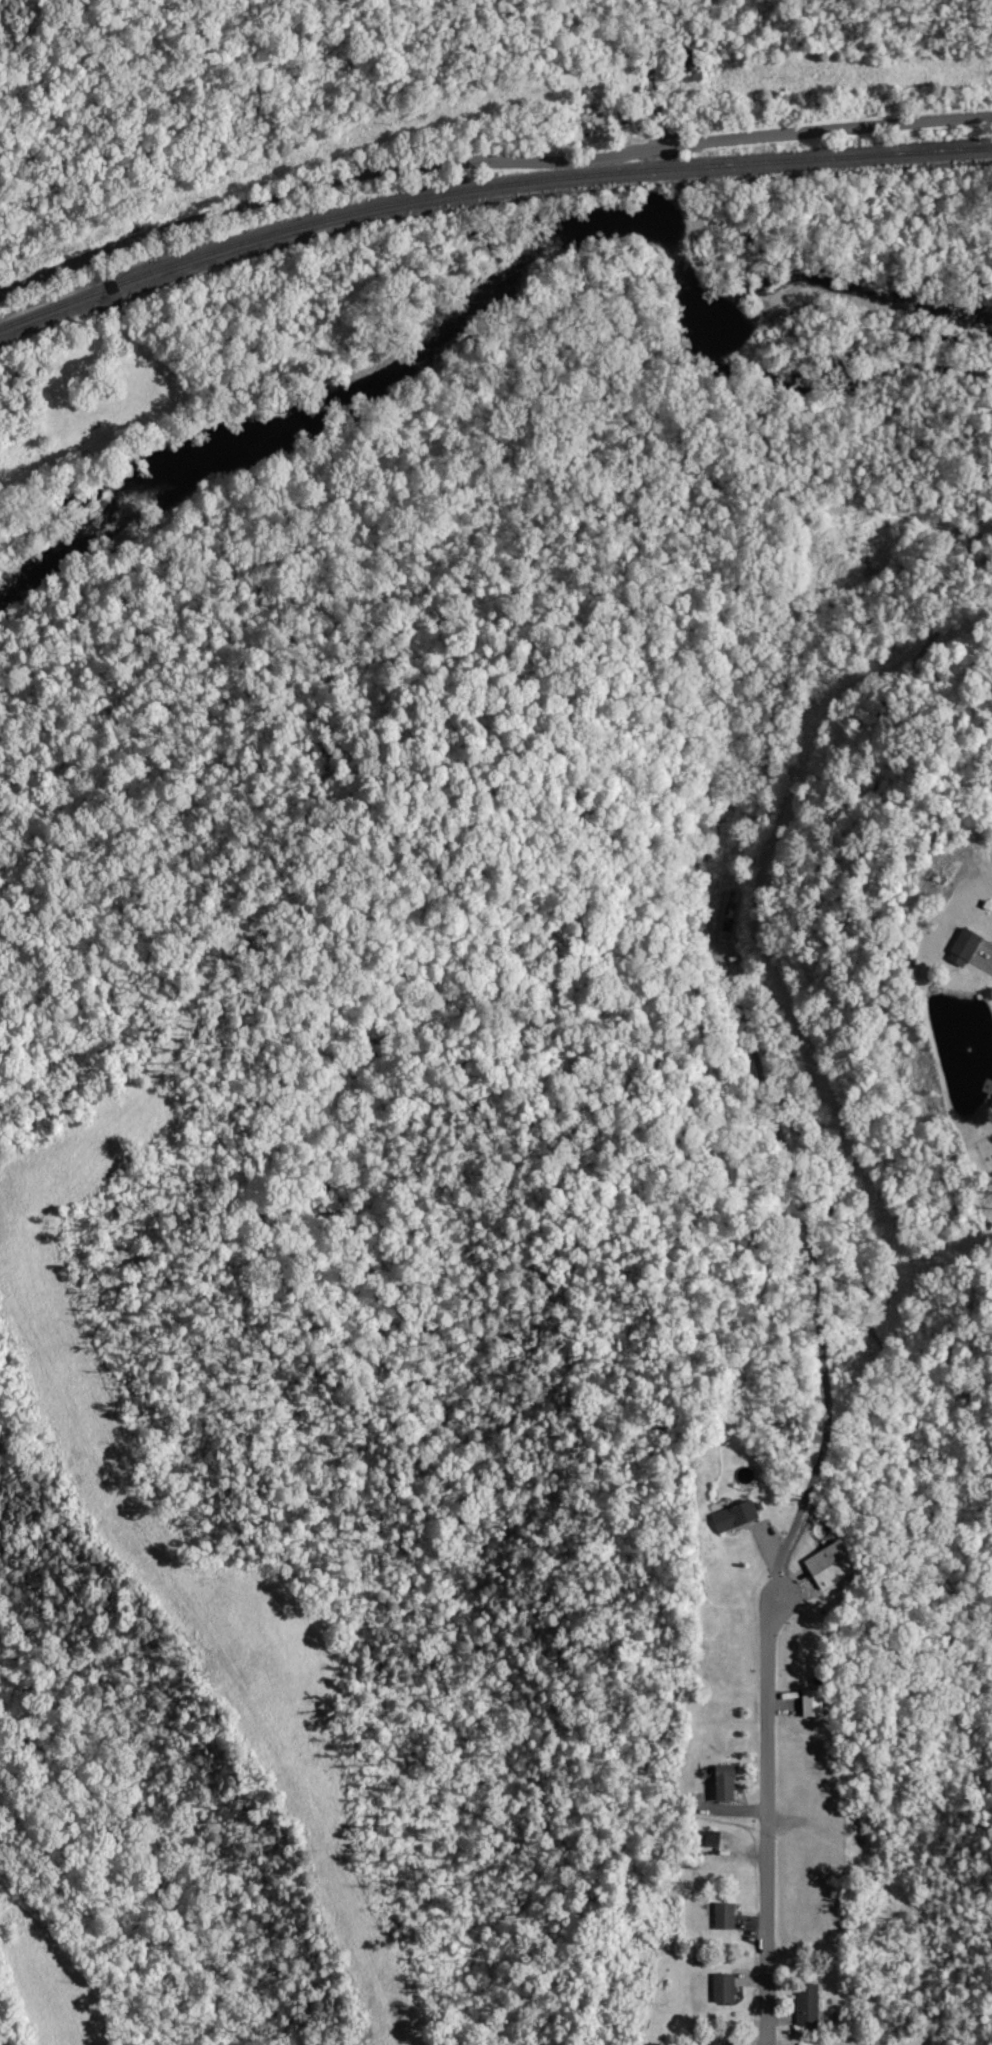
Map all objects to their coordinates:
road: (486, 164)
railway: (485, 190)
building: (968, 947)
building: (741, 1514)
building: (836, 1563)
building: (817, 1701)
building: (729, 1781)
road: (764, 1821)
building: (717, 1836)
building: (729, 1915)
building: (728, 1987)
building: (810, 2003)
building: (727, 2042)

